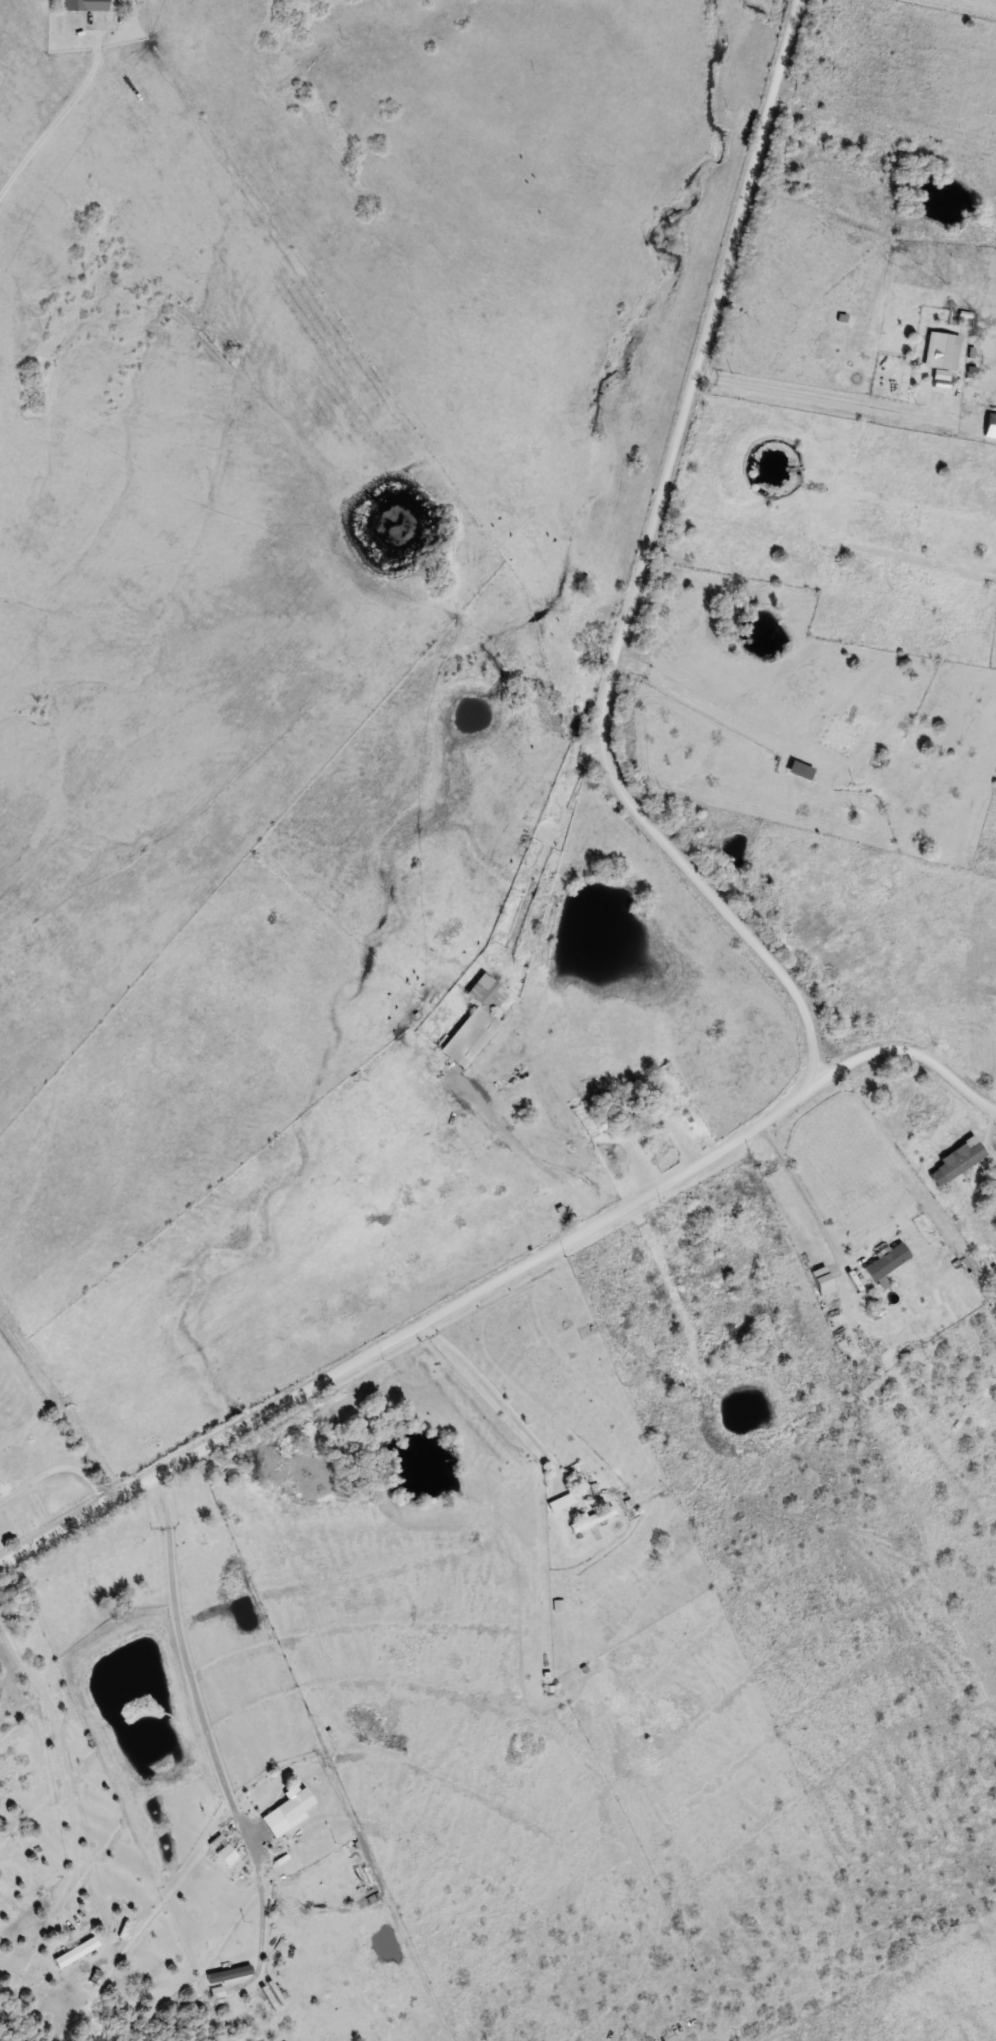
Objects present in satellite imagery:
building: (82, 5)
road: (60, 113)
road: (885, 118)
building: (939, 351)
road: (844, 401)
road: (639, 571)
road: (908, 1050)
building: (628, 1116)
road: (644, 1127)
road: (561, 1133)
building: (955, 1161)
road: (802, 1192)
road: (653, 1240)
building: (886, 1261)
building: (701, 1274)
road: (408, 1330)
road: (499, 1398)
road: (56, 1471)
park: (47, 1472)
building: (590, 1519)
road: (190, 1648)
road: (67, 1753)
building: (288, 1811)
building: (223, 1852)
building: (75, 1952)

